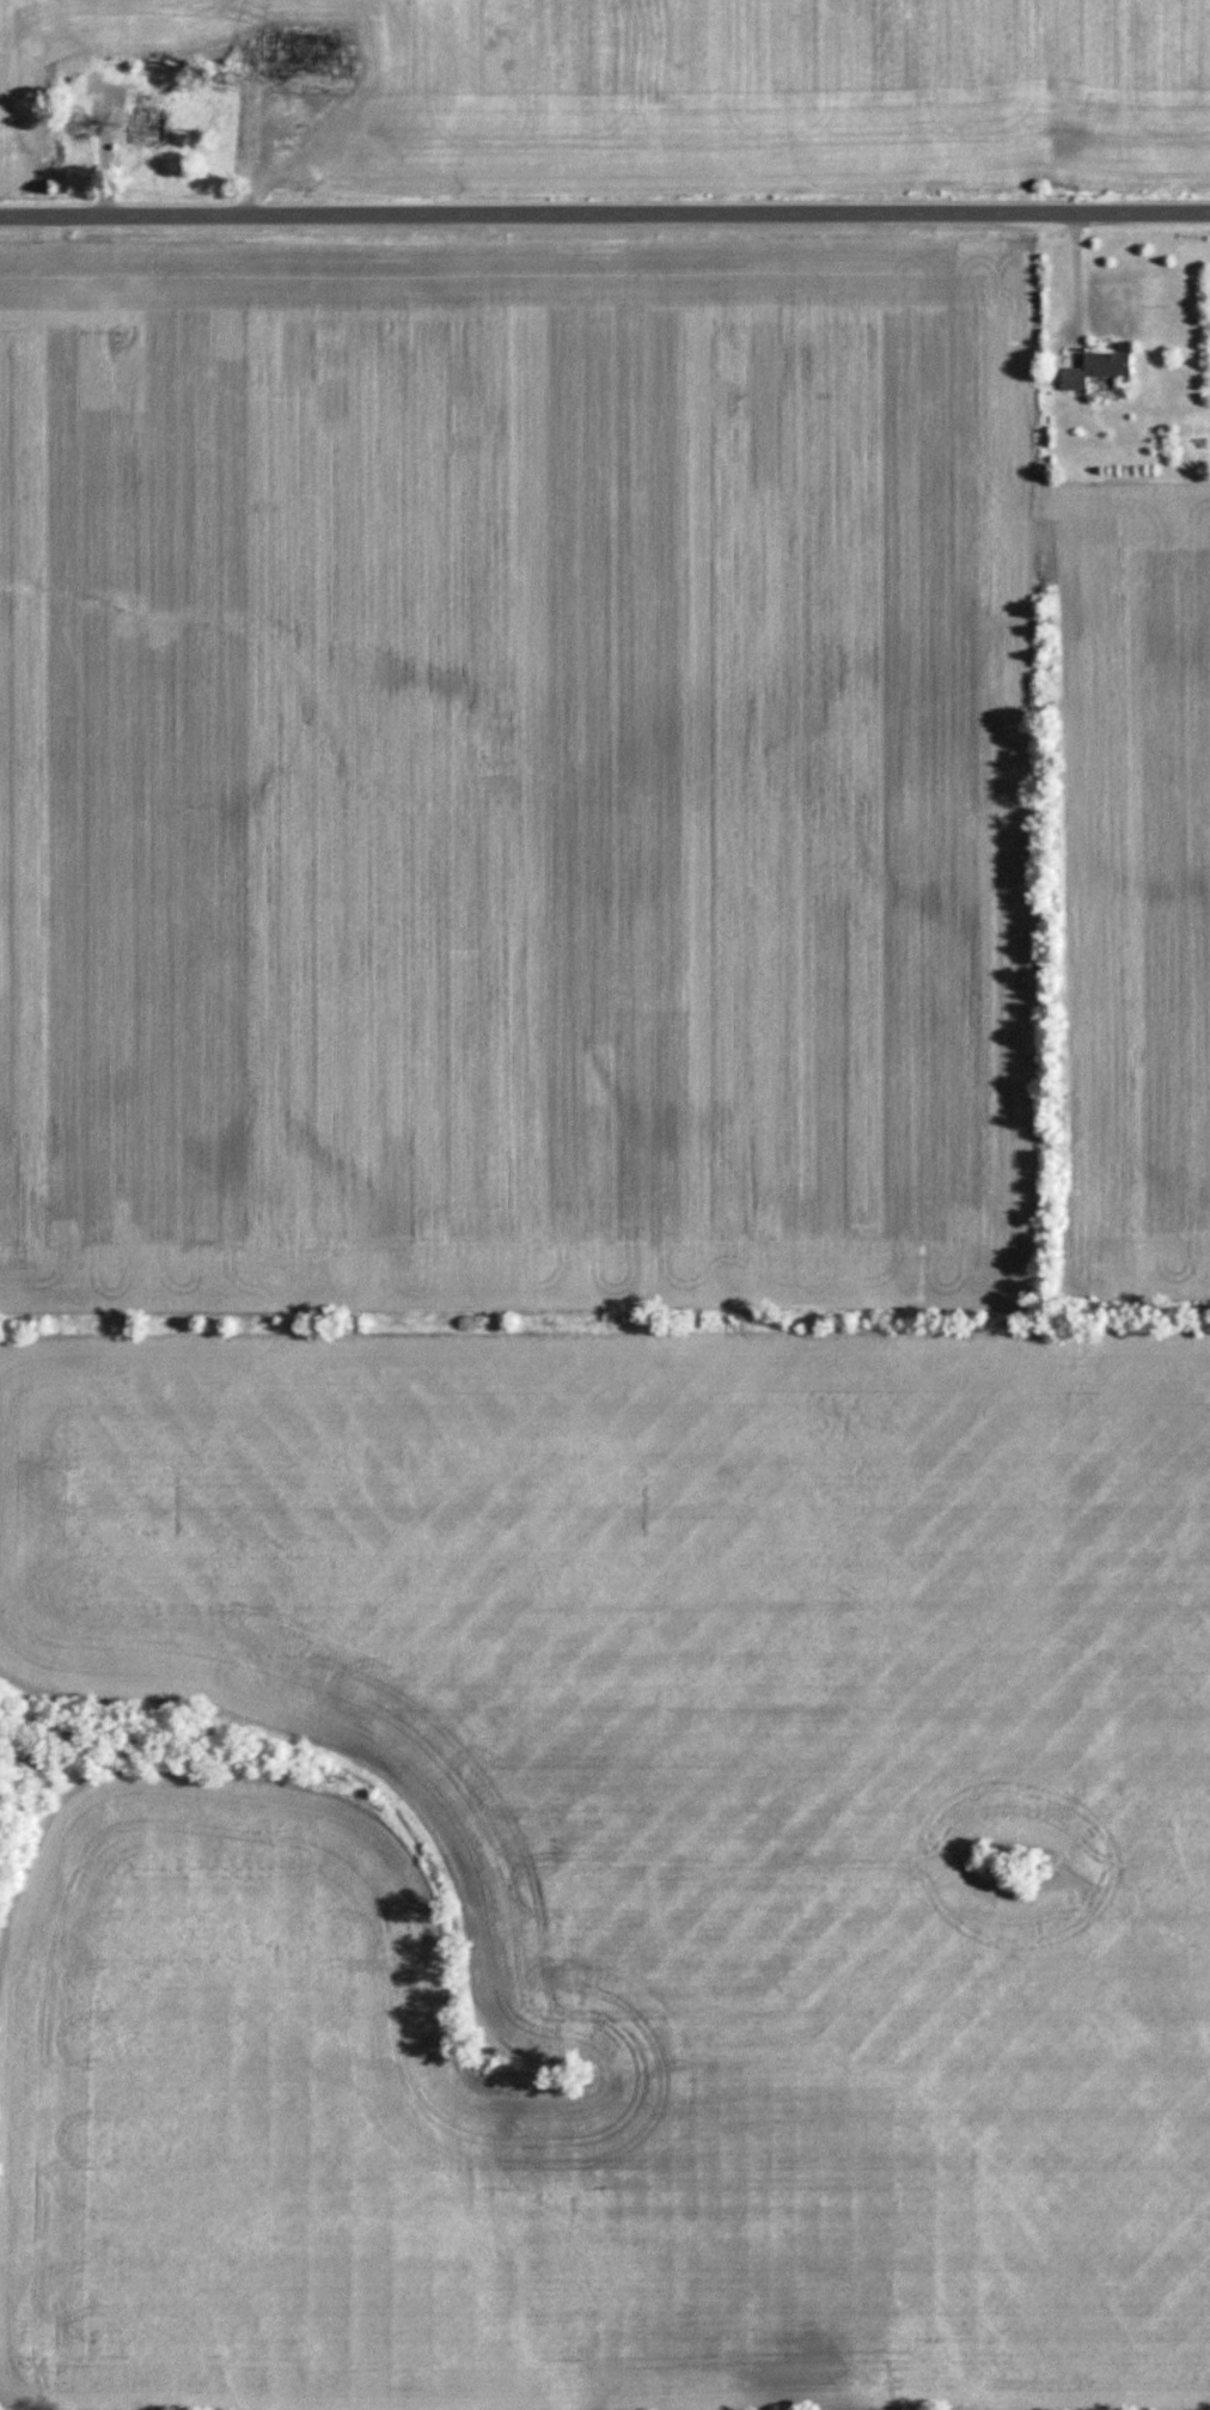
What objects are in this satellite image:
building: (307, 54)
building: (97, 85)
building: (152, 123)
road: (604, 211)
road: (1078, 276)
building: (1101, 370)

